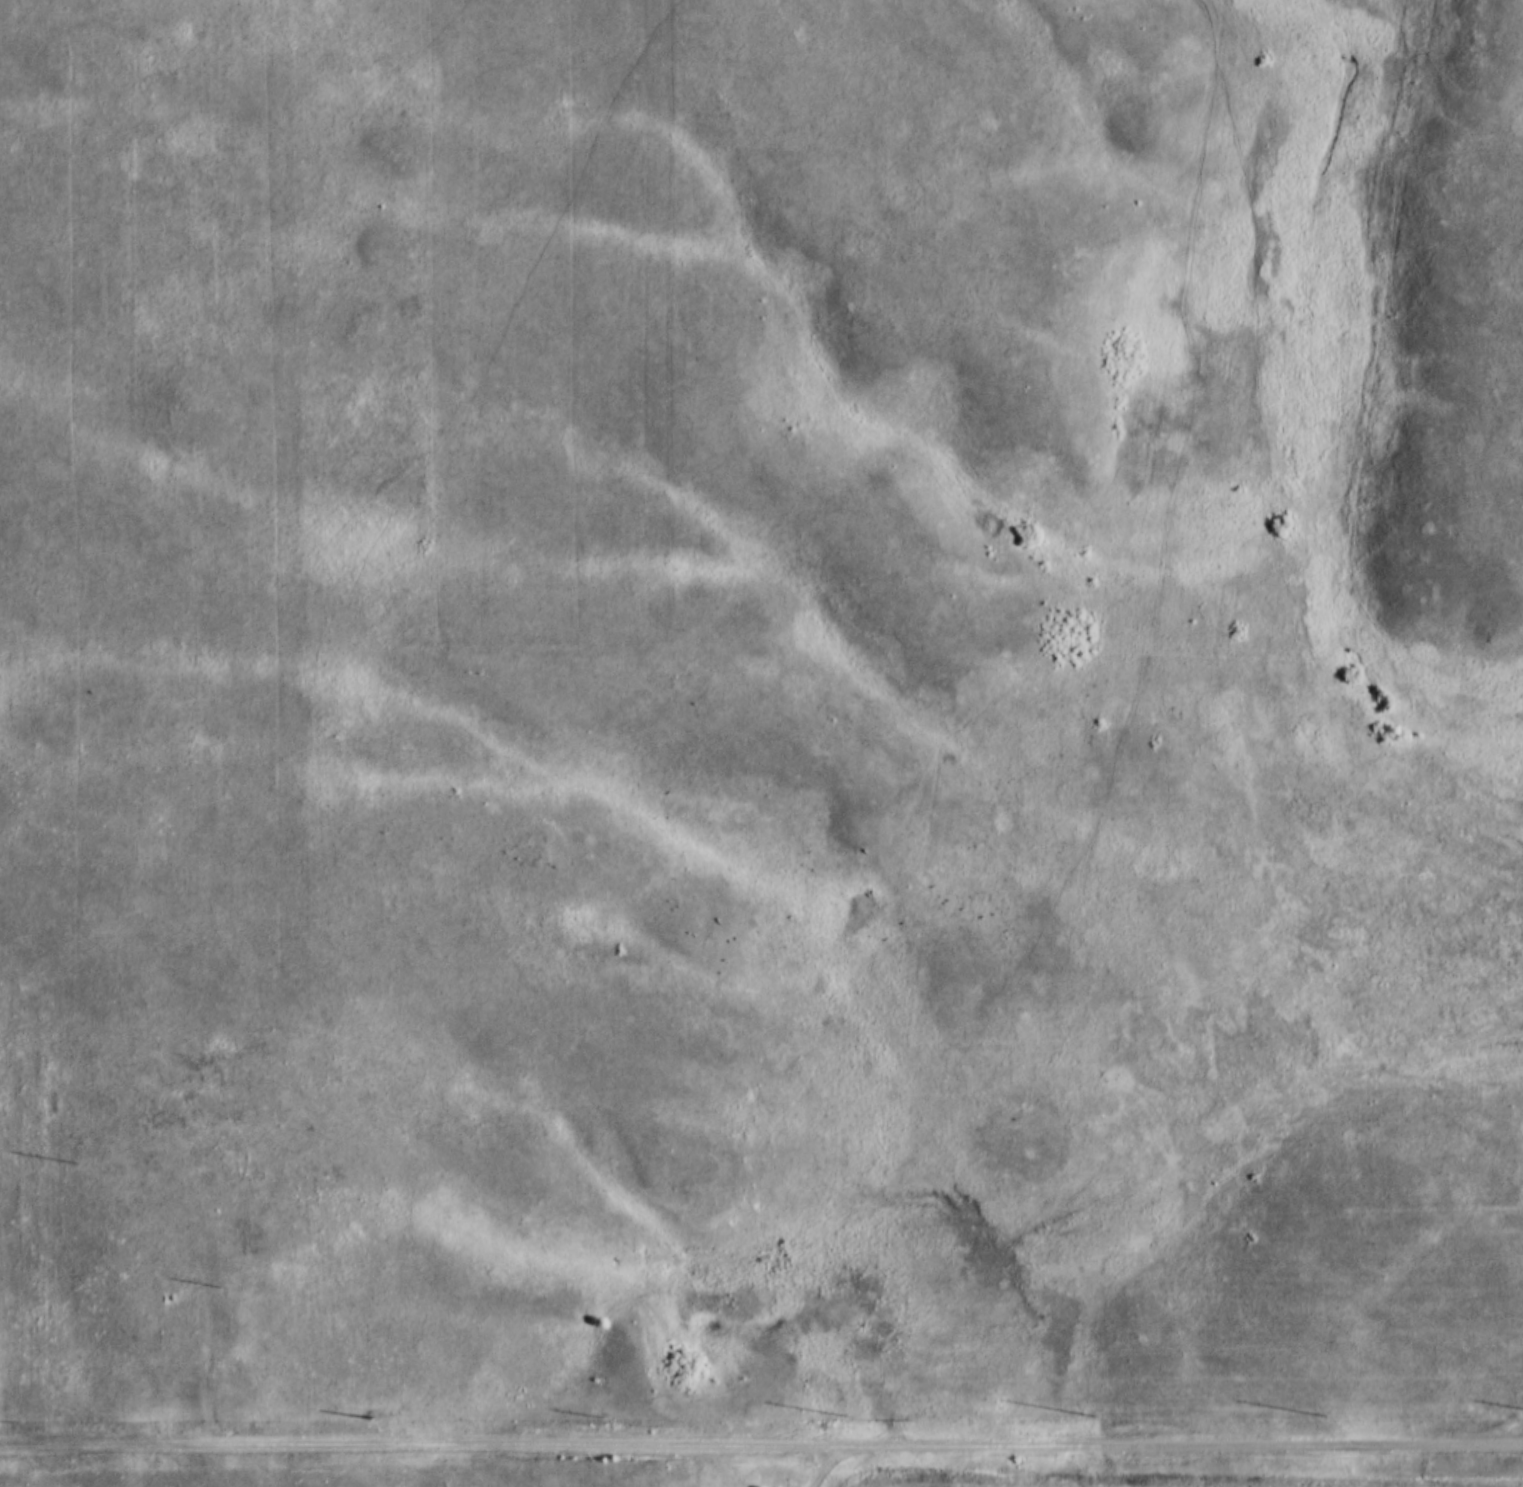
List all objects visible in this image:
road: (761, 1442)
road: (942, 1463)

